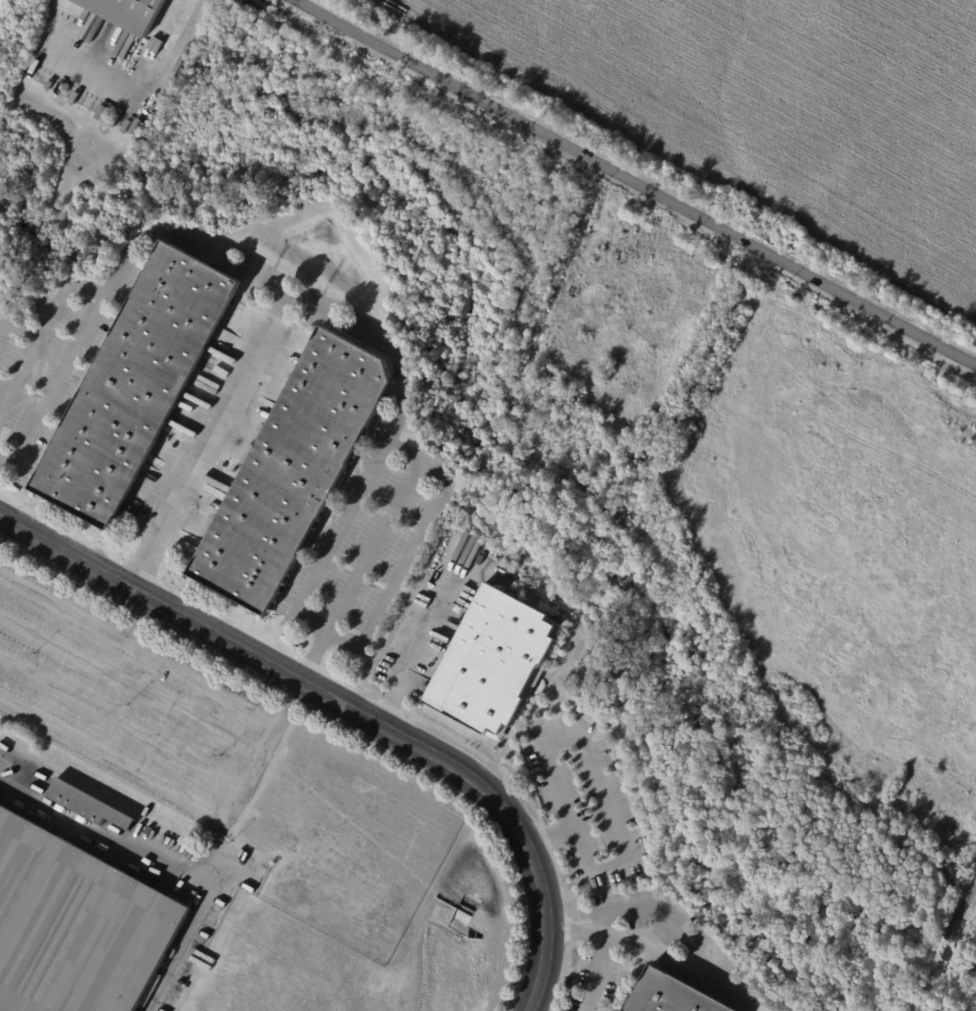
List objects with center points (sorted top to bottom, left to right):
building: (126, 13)
road: (189, 26)
road: (100, 70)
crop: (787, 105)
road: (640, 181)
road: (324, 311)
road: (56, 384)
building: (137, 384)
road: (207, 441)
building: (294, 470)
building: (621, 519)
parking lot: (367, 541)
road: (413, 548)
road: (60, 606)
road: (402, 637)
building: (494, 663)
road: (180, 670)
parking lot: (122, 695)
road: (350, 715)
road: (113, 756)
road: (595, 759)
parking lot: (584, 801)
building: (87, 805)
road: (194, 877)
road: (669, 917)
building: (76, 925)
road: (951, 927)
road: (655, 955)
road: (595, 971)
parking lot: (605, 974)
building: (970, 976)
parking lot: (588, 988)
road: (915, 992)
building: (670, 996)

